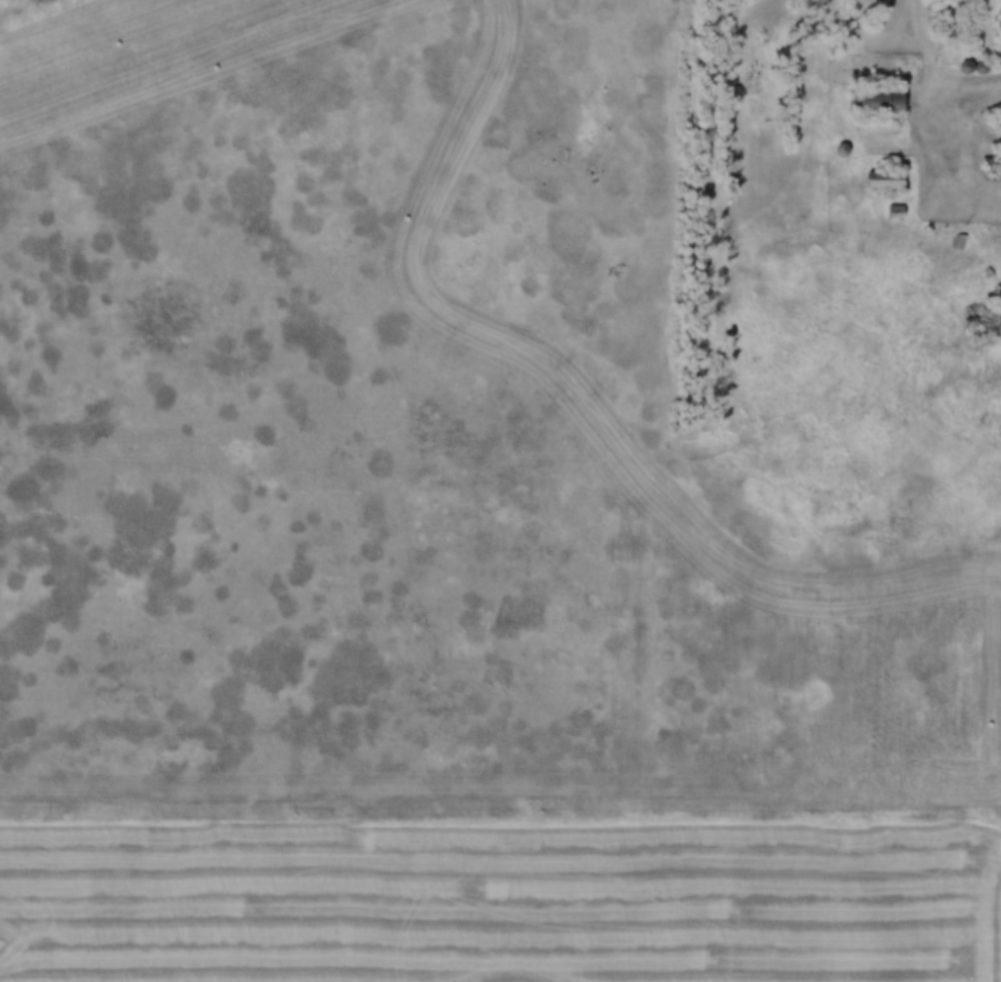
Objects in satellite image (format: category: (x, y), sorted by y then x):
building: (878, 100)
road: (924, 134)
building: (995, 163)
building: (886, 180)
building: (895, 212)
building: (957, 242)
building: (981, 321)

